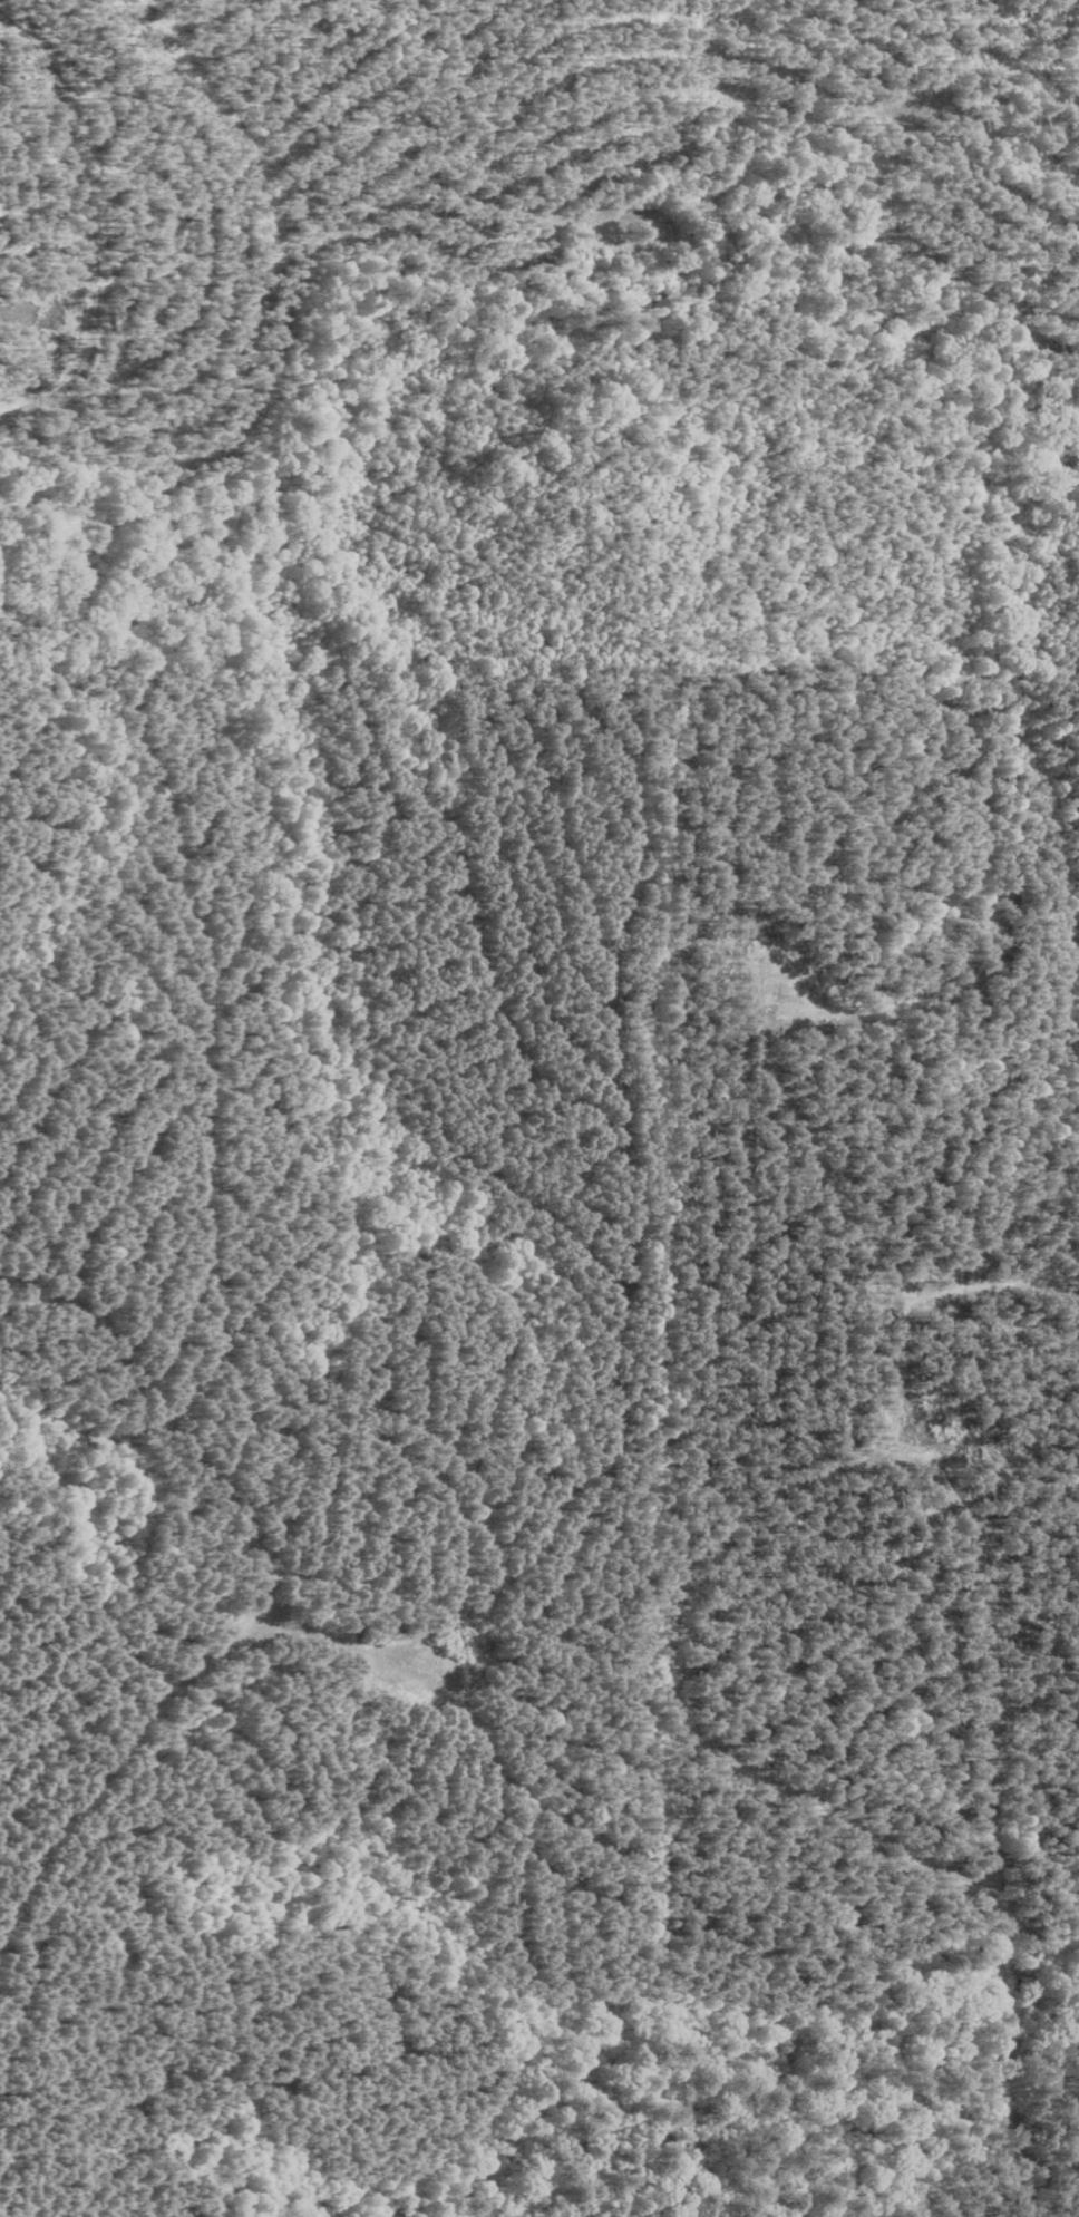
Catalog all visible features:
road: (876, 2116)

